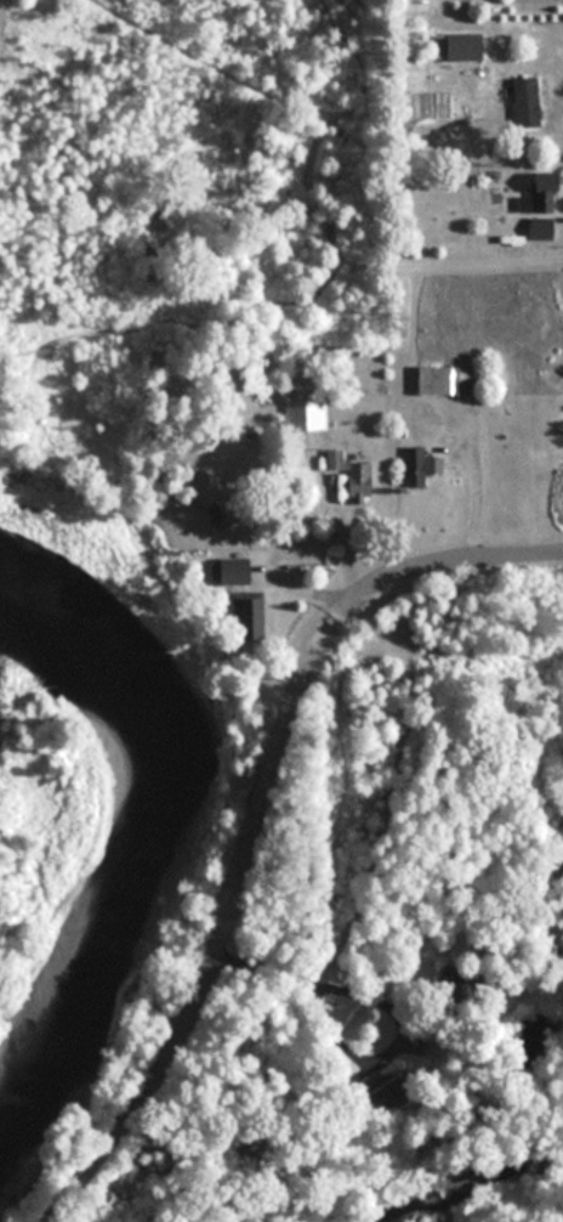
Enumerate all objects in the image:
building: (457, 46)
building: (519, 101)
building: (529, 207)
building: (436, 379)
building: (298, 414)
building: (411, 465)
building: (351, 479)
road: (468, 486)
building: (203, 497)
road: (300, 551)
building: (224, 579)
road: (248, 811)
river: (152, 843)

